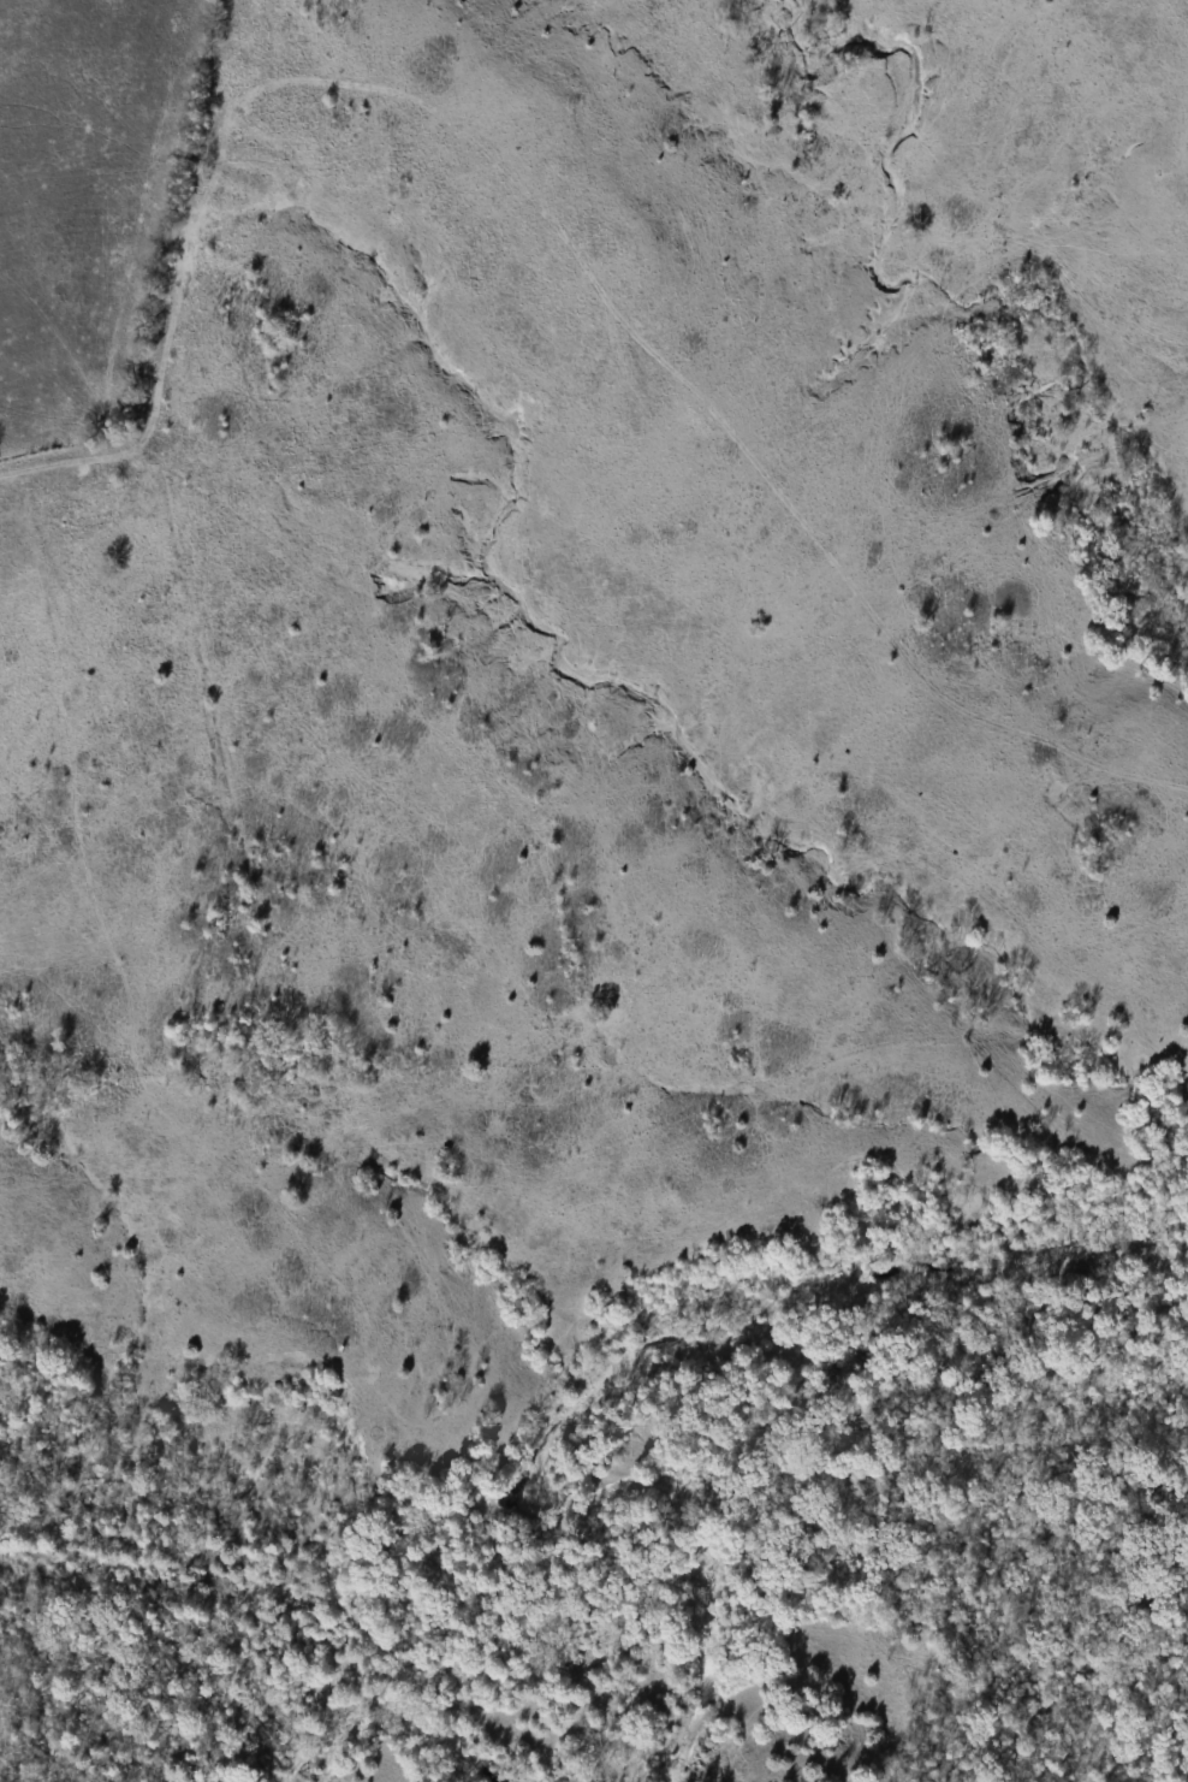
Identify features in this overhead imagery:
road: (1117, 1671)

